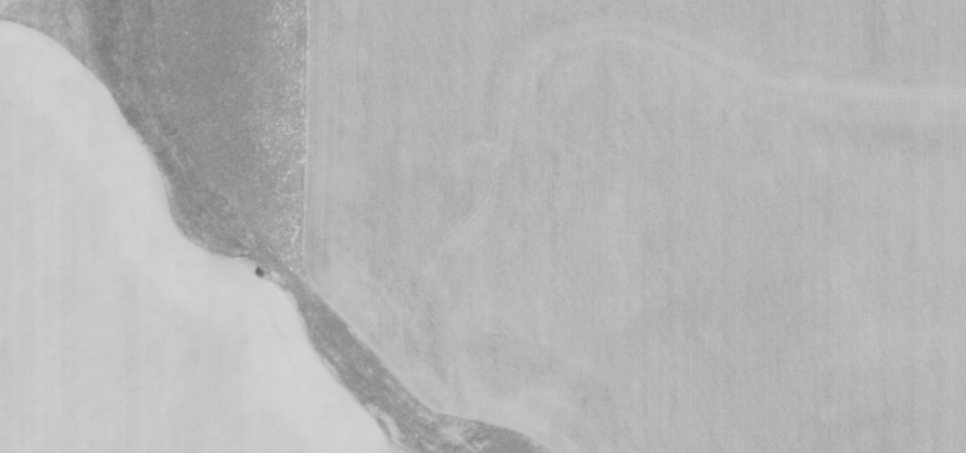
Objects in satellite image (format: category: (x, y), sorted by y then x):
crop: (483, 226)

